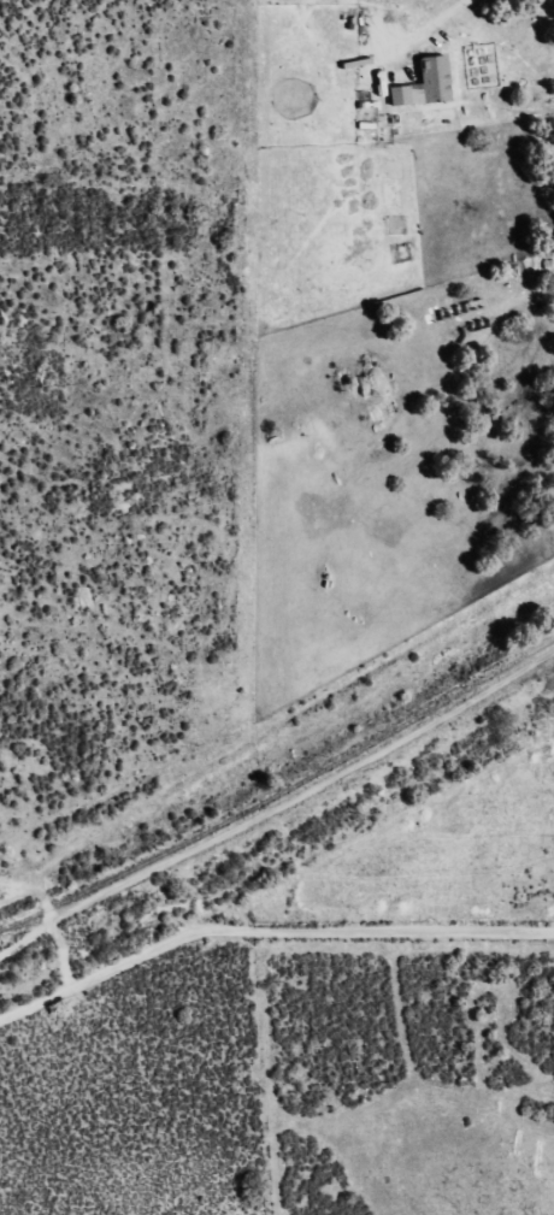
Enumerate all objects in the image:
building: (422, 84)
railway: (279, 789)
road: (267, 933)

